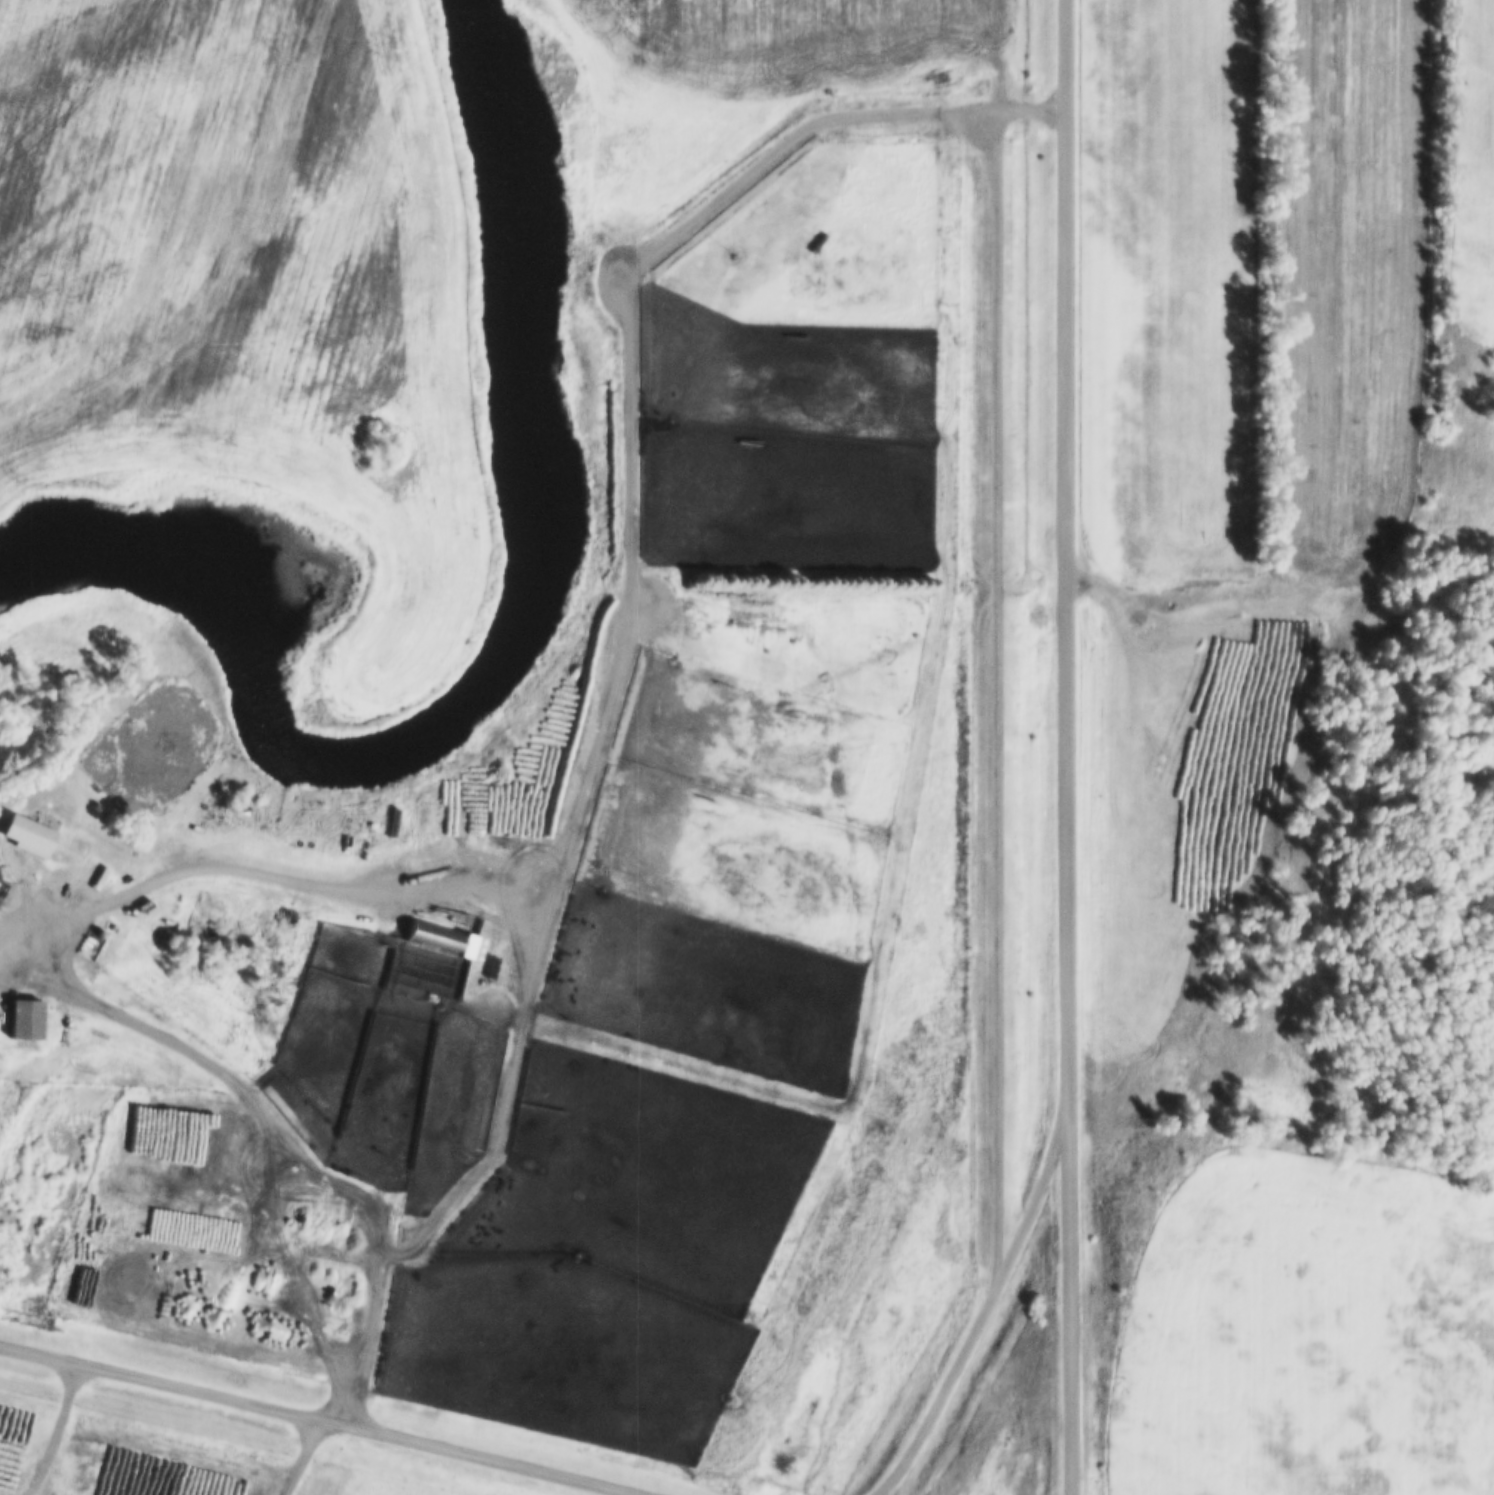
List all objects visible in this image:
river: (506, 650)
road: (1062, 747)
building: (388, 825)
building: (23, 834)
road: (180, 867)
building: (421, 929)
road: (65, 956)
building: (22, 1020)
road: (268, 1129)
road: (354, 1310)
road: (1449, 1315)
road: (976, 1316)
road: (325, 1418)
road: (57, 1426)

